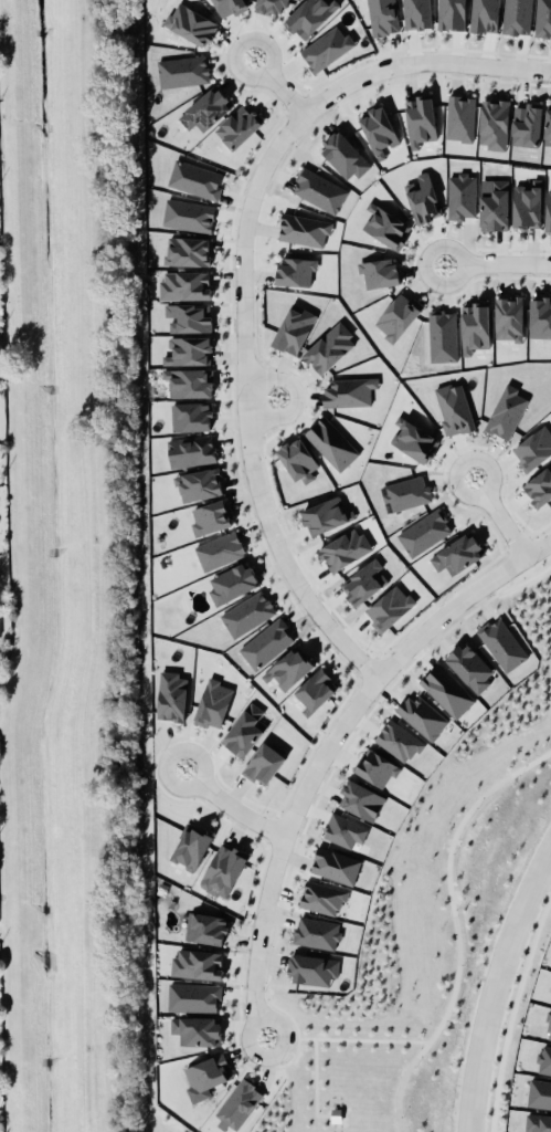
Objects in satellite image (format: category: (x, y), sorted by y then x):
building: (267, 3)
building: (229, 4)
building: (413, 12)
building: (307, 13)
building: (451, 13)
building: (515, 14)
building: (485, 15)
building: (382, 17)
building: (542, 18)
building: (191, 23)
building: (326, 45)
road: (421, 65)
building: (182, 71)
road: (276, 82)
building: (204, 106)
building: (458, 115)
building: (420, 119)
building: (494, 123)
building: (527, 124)
building: (378, 125)
building: (548, 125)
building: (239, 126)
building: (342, 151)
building: (195, 178)
building: (318, 189)
building: (462, 196)
building: (423, 197)
building: (494, 203)
building: (524, 203)
building: (548, 207)
building: (189, 214)
building: (384, 220)
building: (301, 227)
building: (186, 247)
road: (495, 260)
building: (378, 268)
building: (295, 270)
building: (184, 284)
building: (396, 312)
building: (187, 313)
building: (509, 317)
building: (540, 317)
building: (473, 324)
building: (294, 328)
building: (443, 335)
building: (329, 347)
building: (189, 350)
building: (189, 381)
building: (349, 391)
road: (261, 395)
road: (245, 403)
building: (452, 406)
building: (504, 408)
building: (188, 411)
building: (414, 437)
building: (329, 440)
building: (534, 448)
building: (191, 450)
building: (298, 460)
building: (538, 482)
building: (199, 483)
building: (406, 492)
building: (209, 513)
road: (497, 514)
building: (326, 515)
building: (425, 532)
building: (341, 546)
building: (220, 549)
building: (458, 554)
building: (364, 581)
building: (232, 583)
building: (389, 605)
building: (247, 611)
building: (0, 632)
building: (265, 639)
building: (502, 643)
building: (470, 665)
building: (289, 668)
building: (315, 683)
building: (447, 690)
building: (171, 695)
building: (211, 699)
building: (422, 715)
building: (244, 725)
building: (395, 737)
road: (328, 743)
building: (264, 762)
building: (375, 765)
building: (361, 799)
road: (227, 805)
building: (345, 830)
building: (191, 845)
road: (549, 850)
building: (336, 864)
building: (223, 869)
building: (322, 897)
building: (205, 927)
building: (314, 932)
road: (439, 933)
building: (197, 961)
building: (312, 968)
road: (495, 983)
building: (193, 996)
road: (509, 1008)
building: (548, 1027)
building: (197, 1029)
building: (544, 1059)
building: (205, 1069)
building: (539, 1093)
building: (239, 1103)
building: (538, 1123)

